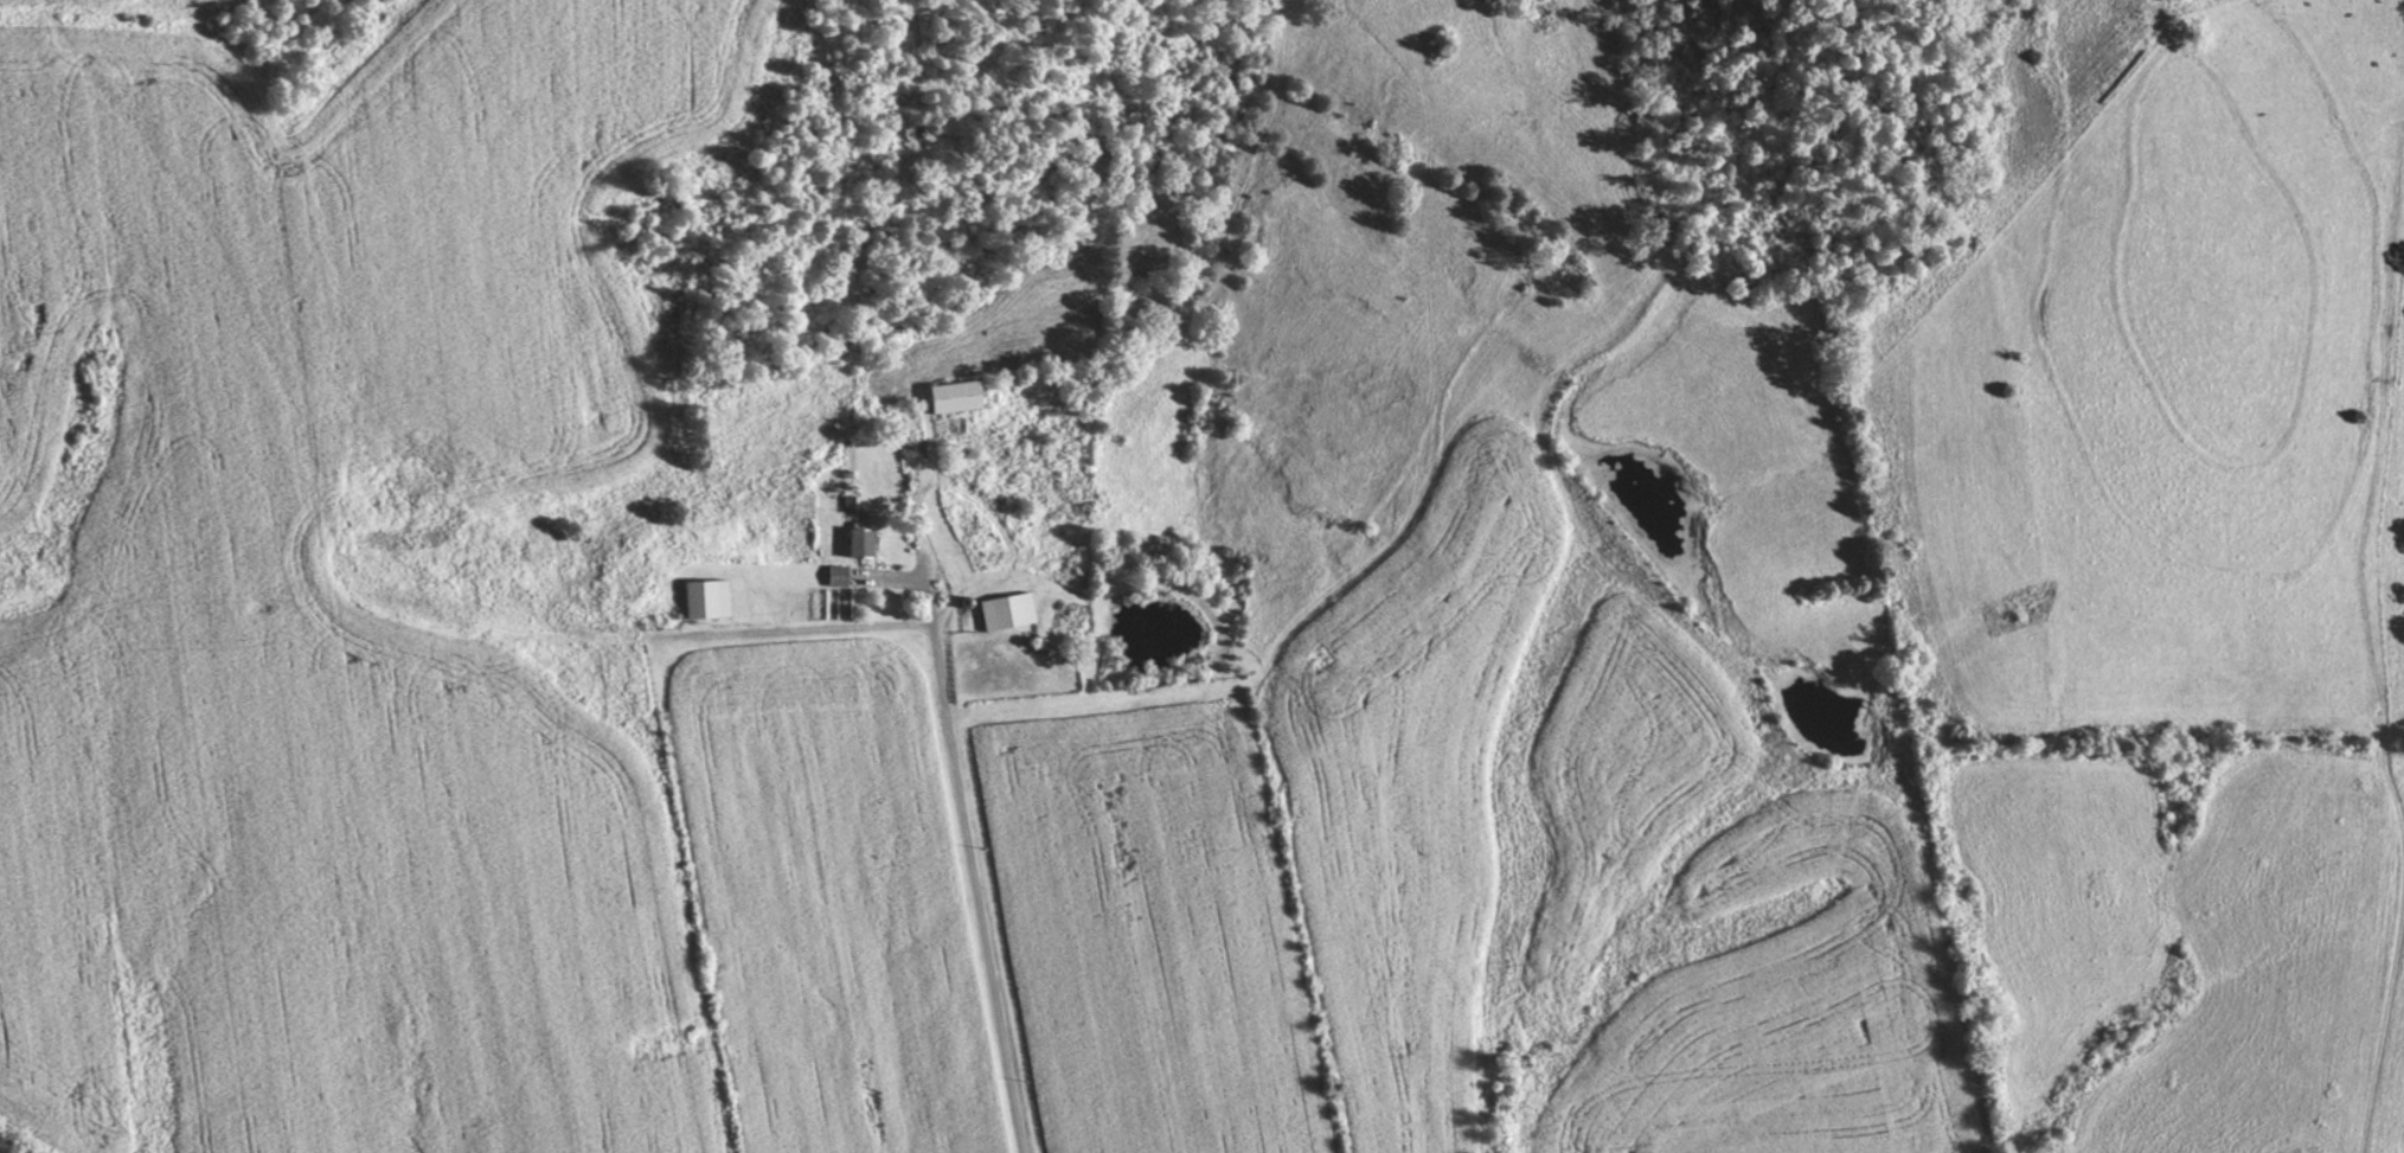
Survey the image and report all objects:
building: (951, 397)
building: (855, 543)
building: (701, 598)
building: (1004, 610)
building: (1086, 617)
road: (943, 732)

